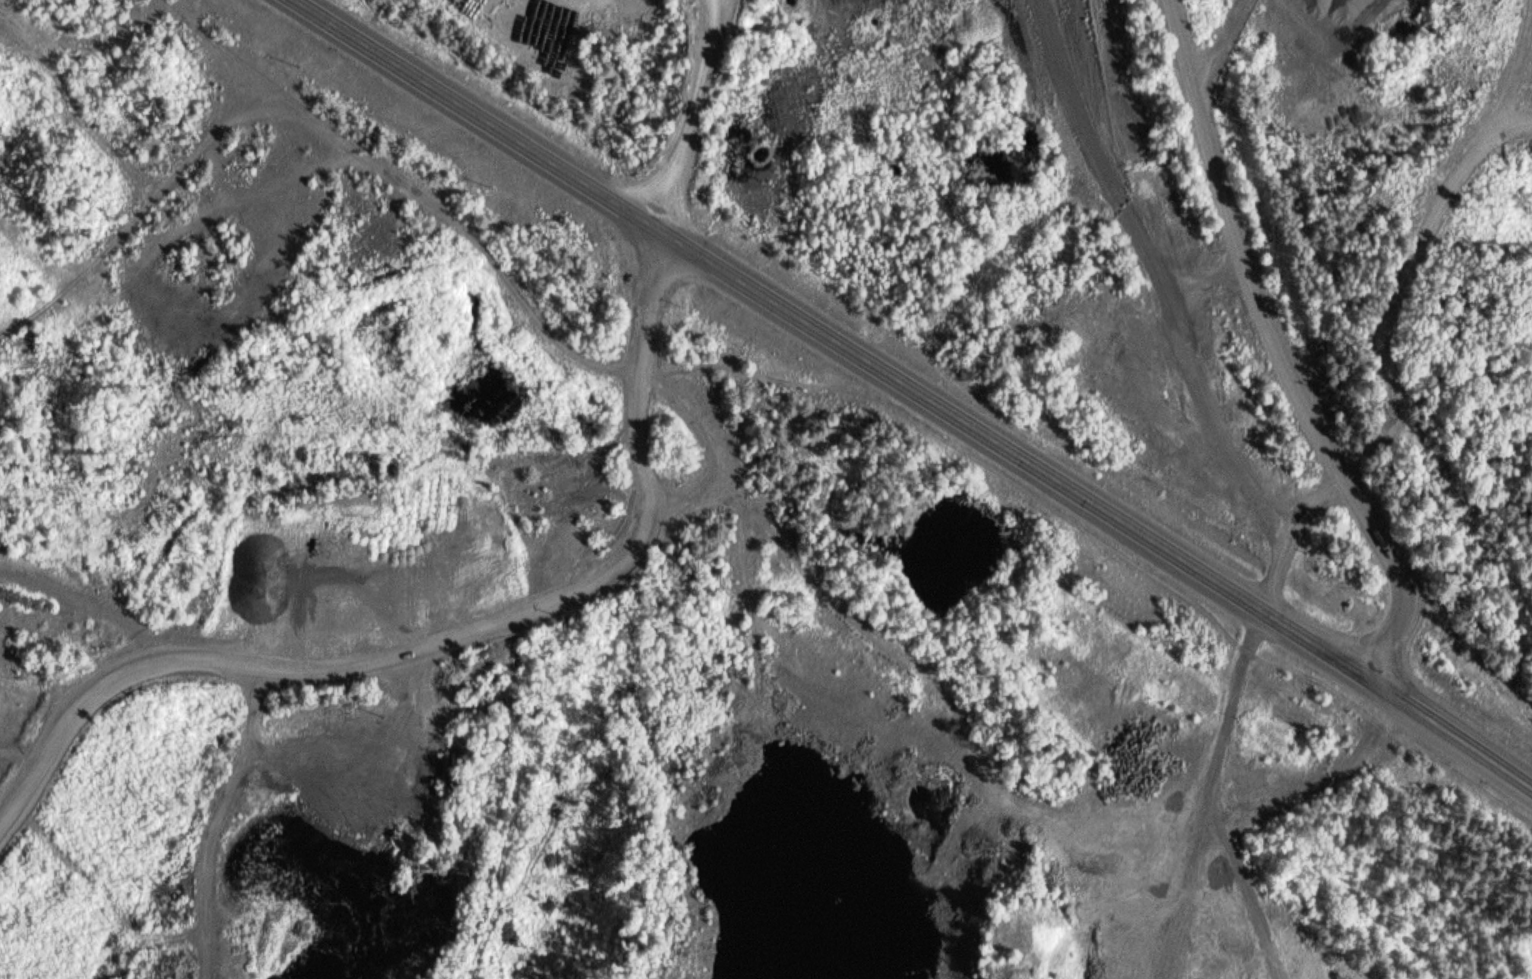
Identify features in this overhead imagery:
road: (1211, 17)
road: (1298, 357)
road: (914, 386)
road: (452, 643)
building: (451, 768)
road: (221, 823)

